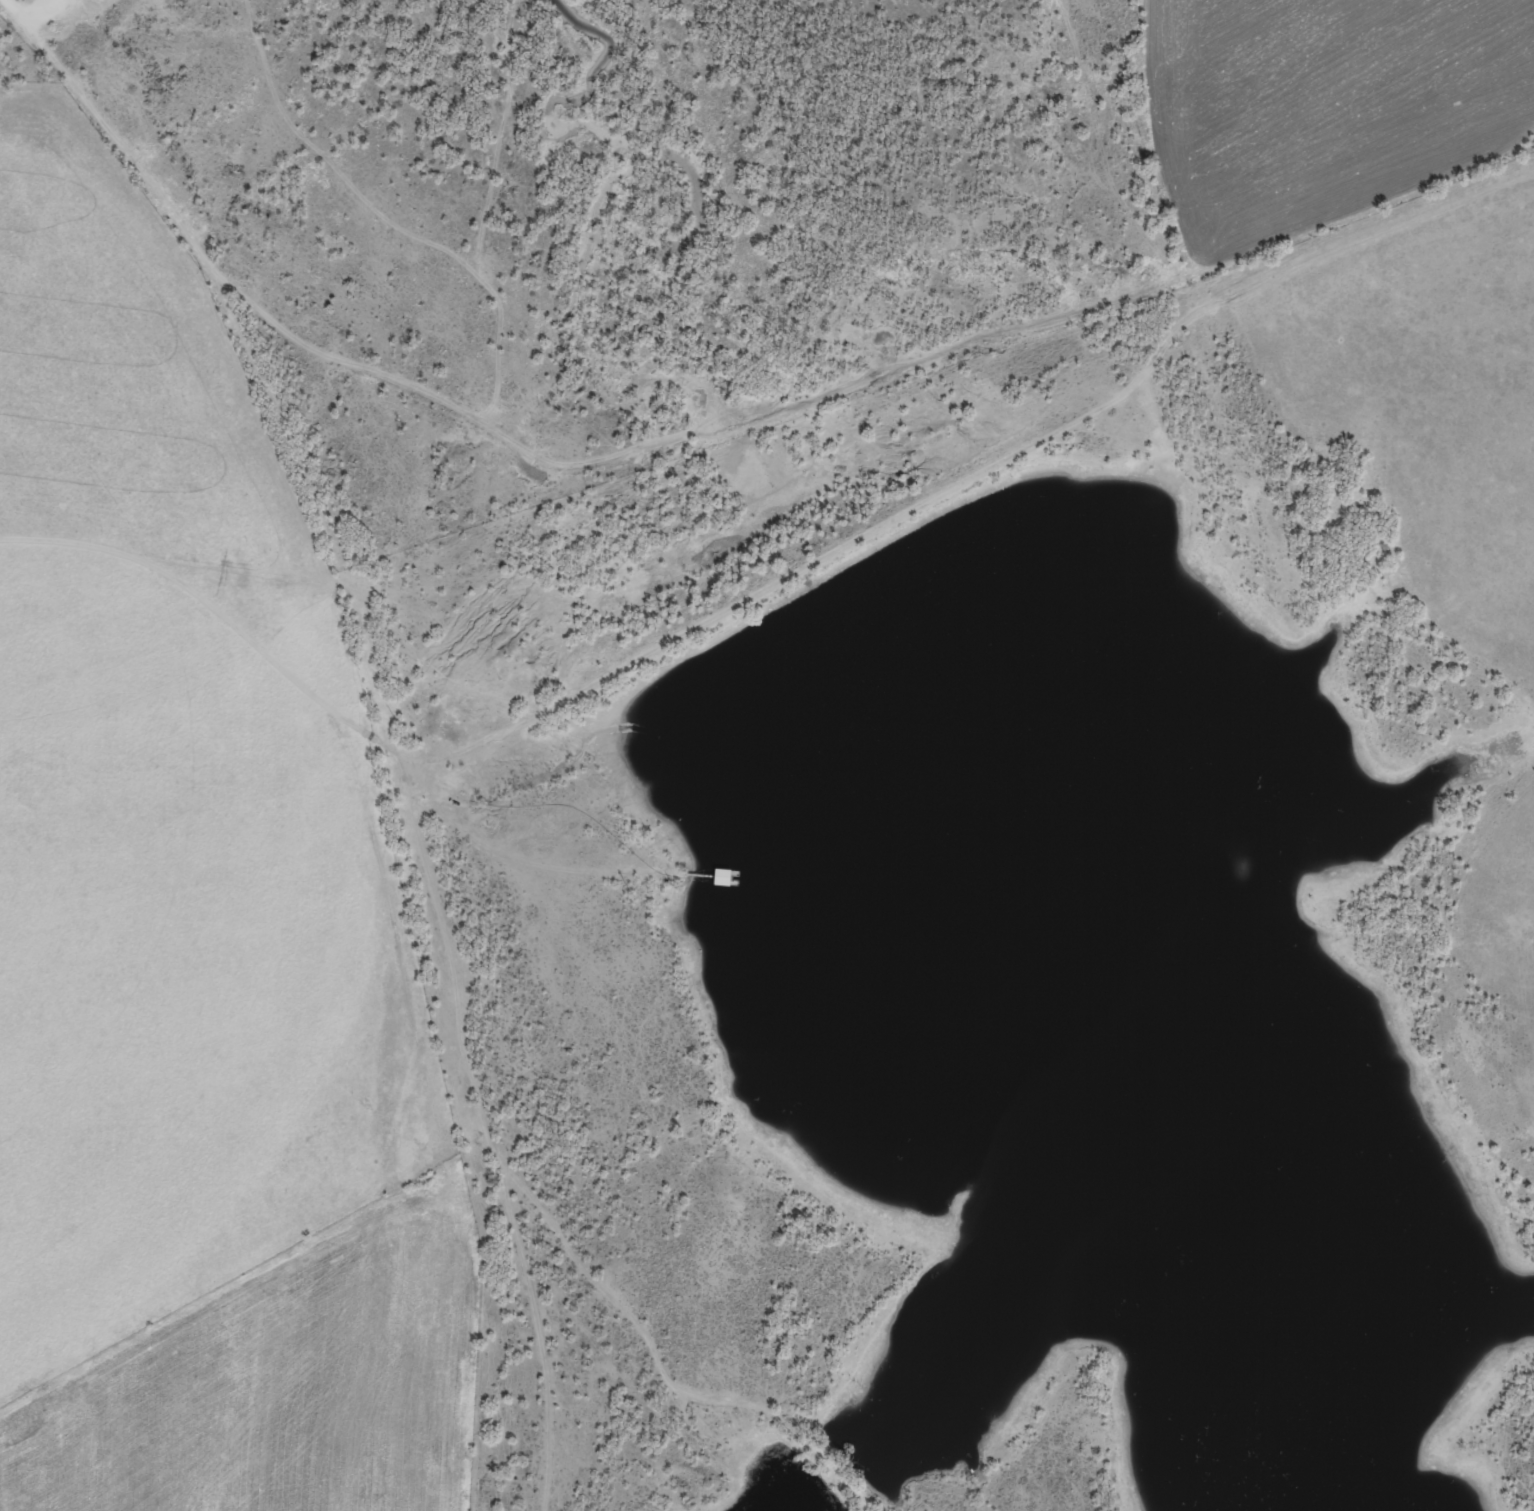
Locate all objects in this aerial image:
road: (40, 13)
road: (23, 23)
dam: (810, 582)
road: (770, 587)
road: (418, 827)
road: (534, 861)
pier: (709, 873)

